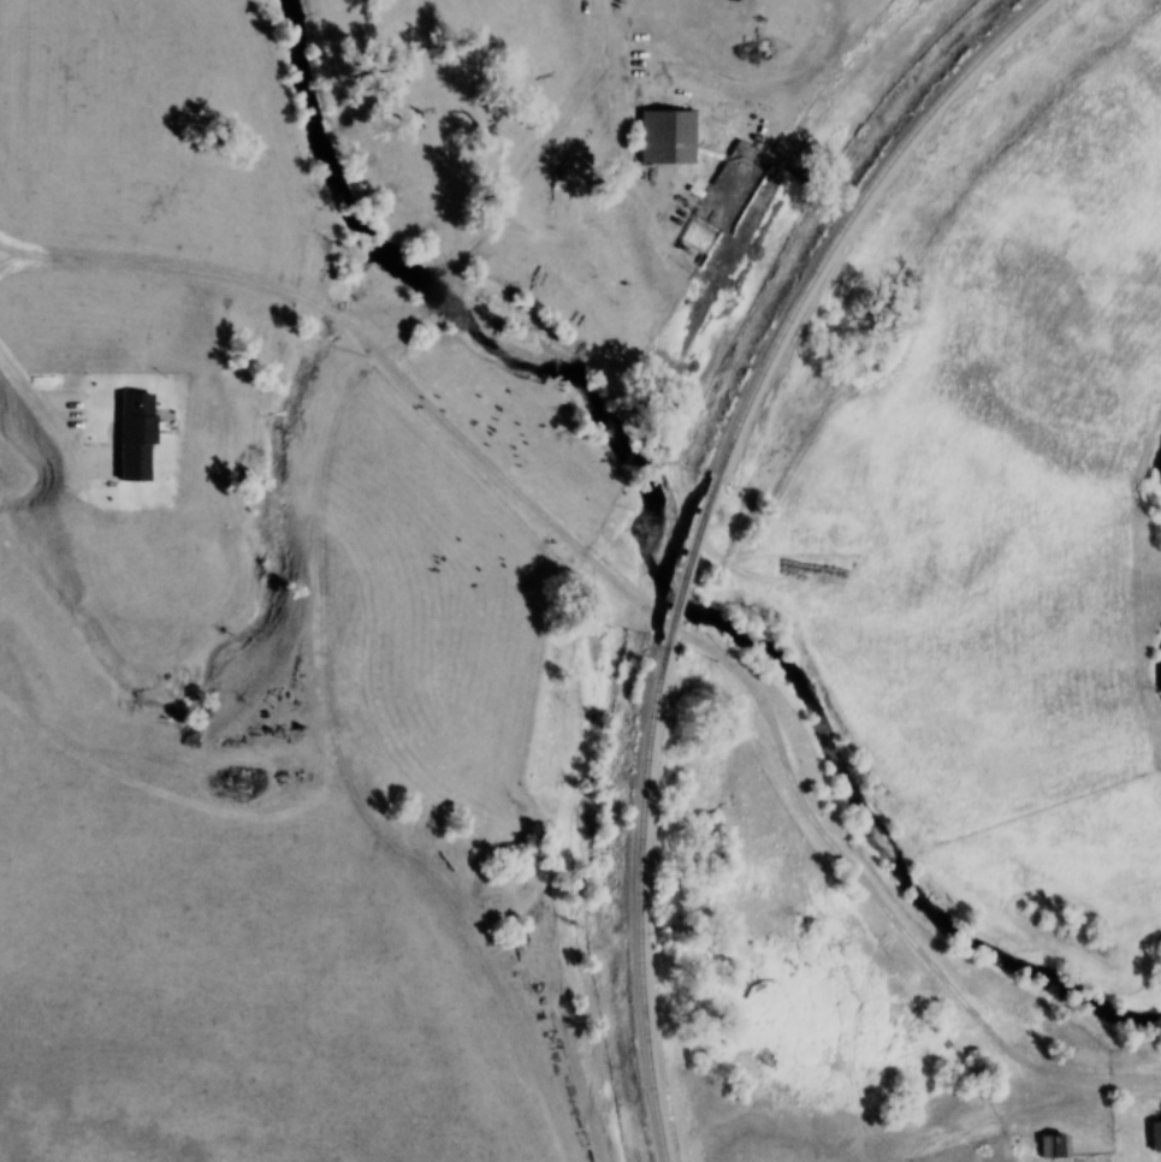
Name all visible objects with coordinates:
road: (615, 114)
building: (665, 144)
railway: (847, 221)
road: (374, 356)
building: (134, 444)
railway: (682, 565)
railway: (633, 906)
building: (1155, 1144)
building: (1050, 1152)

